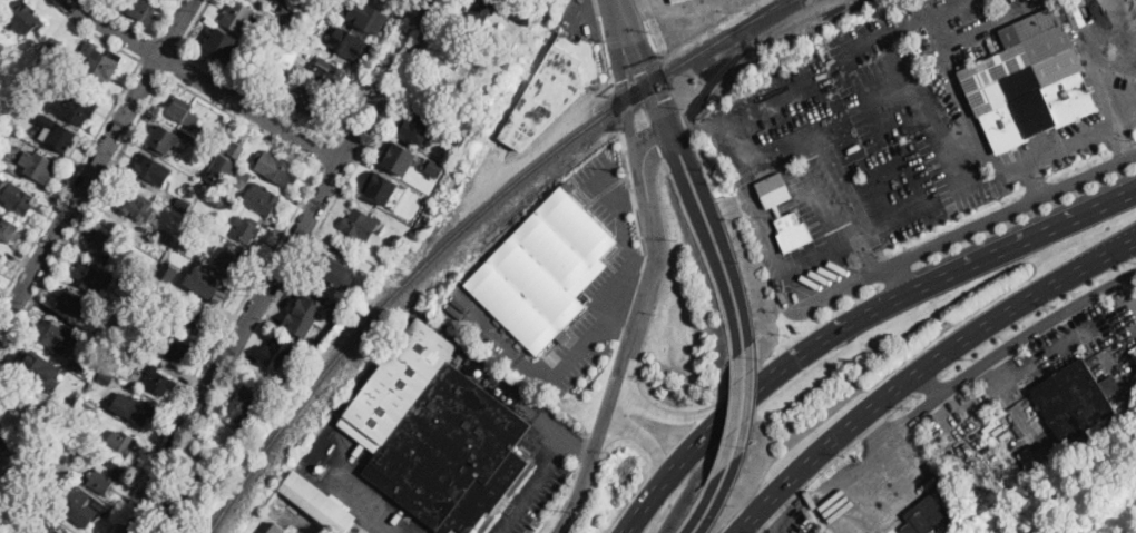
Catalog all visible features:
building: (391, 0)
building: (676, 1)
building: (931, 1)
building: (533, 3)
building: (138, 8)
building: (481, 10)
building: (290, 11)
railway: (765, 11)
railway: (771, 11)
building: (364, 14)
building: (527, 16)
road: (587, 16)
building: (239, 17)
building: (26, 19)
building: (282, 24)
road: (144, 30)
building: (307, 33)
road: (629, 37)
building: (351, 42)
building: (55, 45)
road: (167, 45)
building: (301, 45)
building: (219, 47)
road: (604, 47)
road: (148, 49)
building: (457, 53)
building: (290, 58)
building: (46, 61)
building: (501, 61)
building: (101, 63)
road: (173, 63)
building: (267, 66)
road: (154, 68)
road: (379, 71)
building: (330, 73)
building: (1029, 79)
road: (232, 81)
road: (206, 82)
building: (554, 89)
building: (433, 93)
road: (658, 99)
building: (312, 103)
road: (627, 106)
building: (75, 109)
building: (180, 110)
road: (616, 111)
parking lot: (914, 113)
road: (695, 124)
building: (418, 126)
parking lot: (1077, 129)
road: (97, 136)
building: (62, 138)
building: (454, 138)
road: (781, 138)
building: (223, 139)
building: (164, 140)
road: (1069, 141)
road: (655, 144)
road: (284, 145)
building: (237, 150)
road: (349, 150)
road: (329, 155)
building: (400, 158)
road: (850, 161)
building: (39, 166)
road: (96, 166)
building: (277, 167)
building: (435, 167)
building: (153, 169)
building: (222, 171)
road: (335, 174)
building: (244, 178)
building: (381, 187)
road: (630, 190)
building: (17, 198)
building: (262, 198)
road: (633, 198)
building: (213, 199)
building: (134, 204)
building: (184, 204)
building: (793, 215)
building: (360, 223)
building: (9, 230)
building: (248, 230)
road: (870, 231)
road: (721, 233)
parking lot: (825, 234)
road: (962, 234)
building: (166, 236)
road: (706, 240)
road: (1029, 240)
railway: (444, 244)
building: (107, 245)
road: (776, 250)
road: (869, 254)
building: (1, 257)
building: (229, 261)
road: (282, 266)
road: (297, 266)
building: (329, 267)
building: (543, 269)
building: (91, 277)
building: (170, 277)
building: (138, 278)
road: (901, 279)
building: (209, 285)
road: (633, 298)
building: (74, 304)
building: (119, 307)
building: (305, 315)
building: (195, 319)
building: (57, 337)
building: (104, 340)
road: (590, 340)
road: (812, 349)
building: (178, 351)
road: (628, 351)
road: (1000, 351)
building: (121, 352)
building: (1134, 352)
building: (275, 361)
building: (79, 367)
road: (923, 367)
building: (37, 368)
building: (287, 373)
building: (106, 378)
building: (159, 382)
road: (928, 383)
building: (13, 395)
building: (67, 402)
building: (245, 403)
building: (1073, 404)
building: (131, 407)
building: (88, 408)
road: (542, 414)
road: (672, 417)
road: (748, 424)
road: (734, 426)
road: (874, 426)
building: (437, 434)
road: (645, 440)
building: (2, 443)
building: (123, 444)
building: (1030, 457)
building: (1044, 457)
building: (107, 476)
road: (668, 477)
road: (532, 483)
building: (22, 484)
road: (358, 493)
parking lot: (530, 495)
building: (183, 501)
road: (630, 501)
building: (317, 503)
building: (81, 506)
road: (698, 513)
building: (927, 515)
road: (714, 516)
road: (297, 520)
building: (43, 526)
building: (277, 530)

